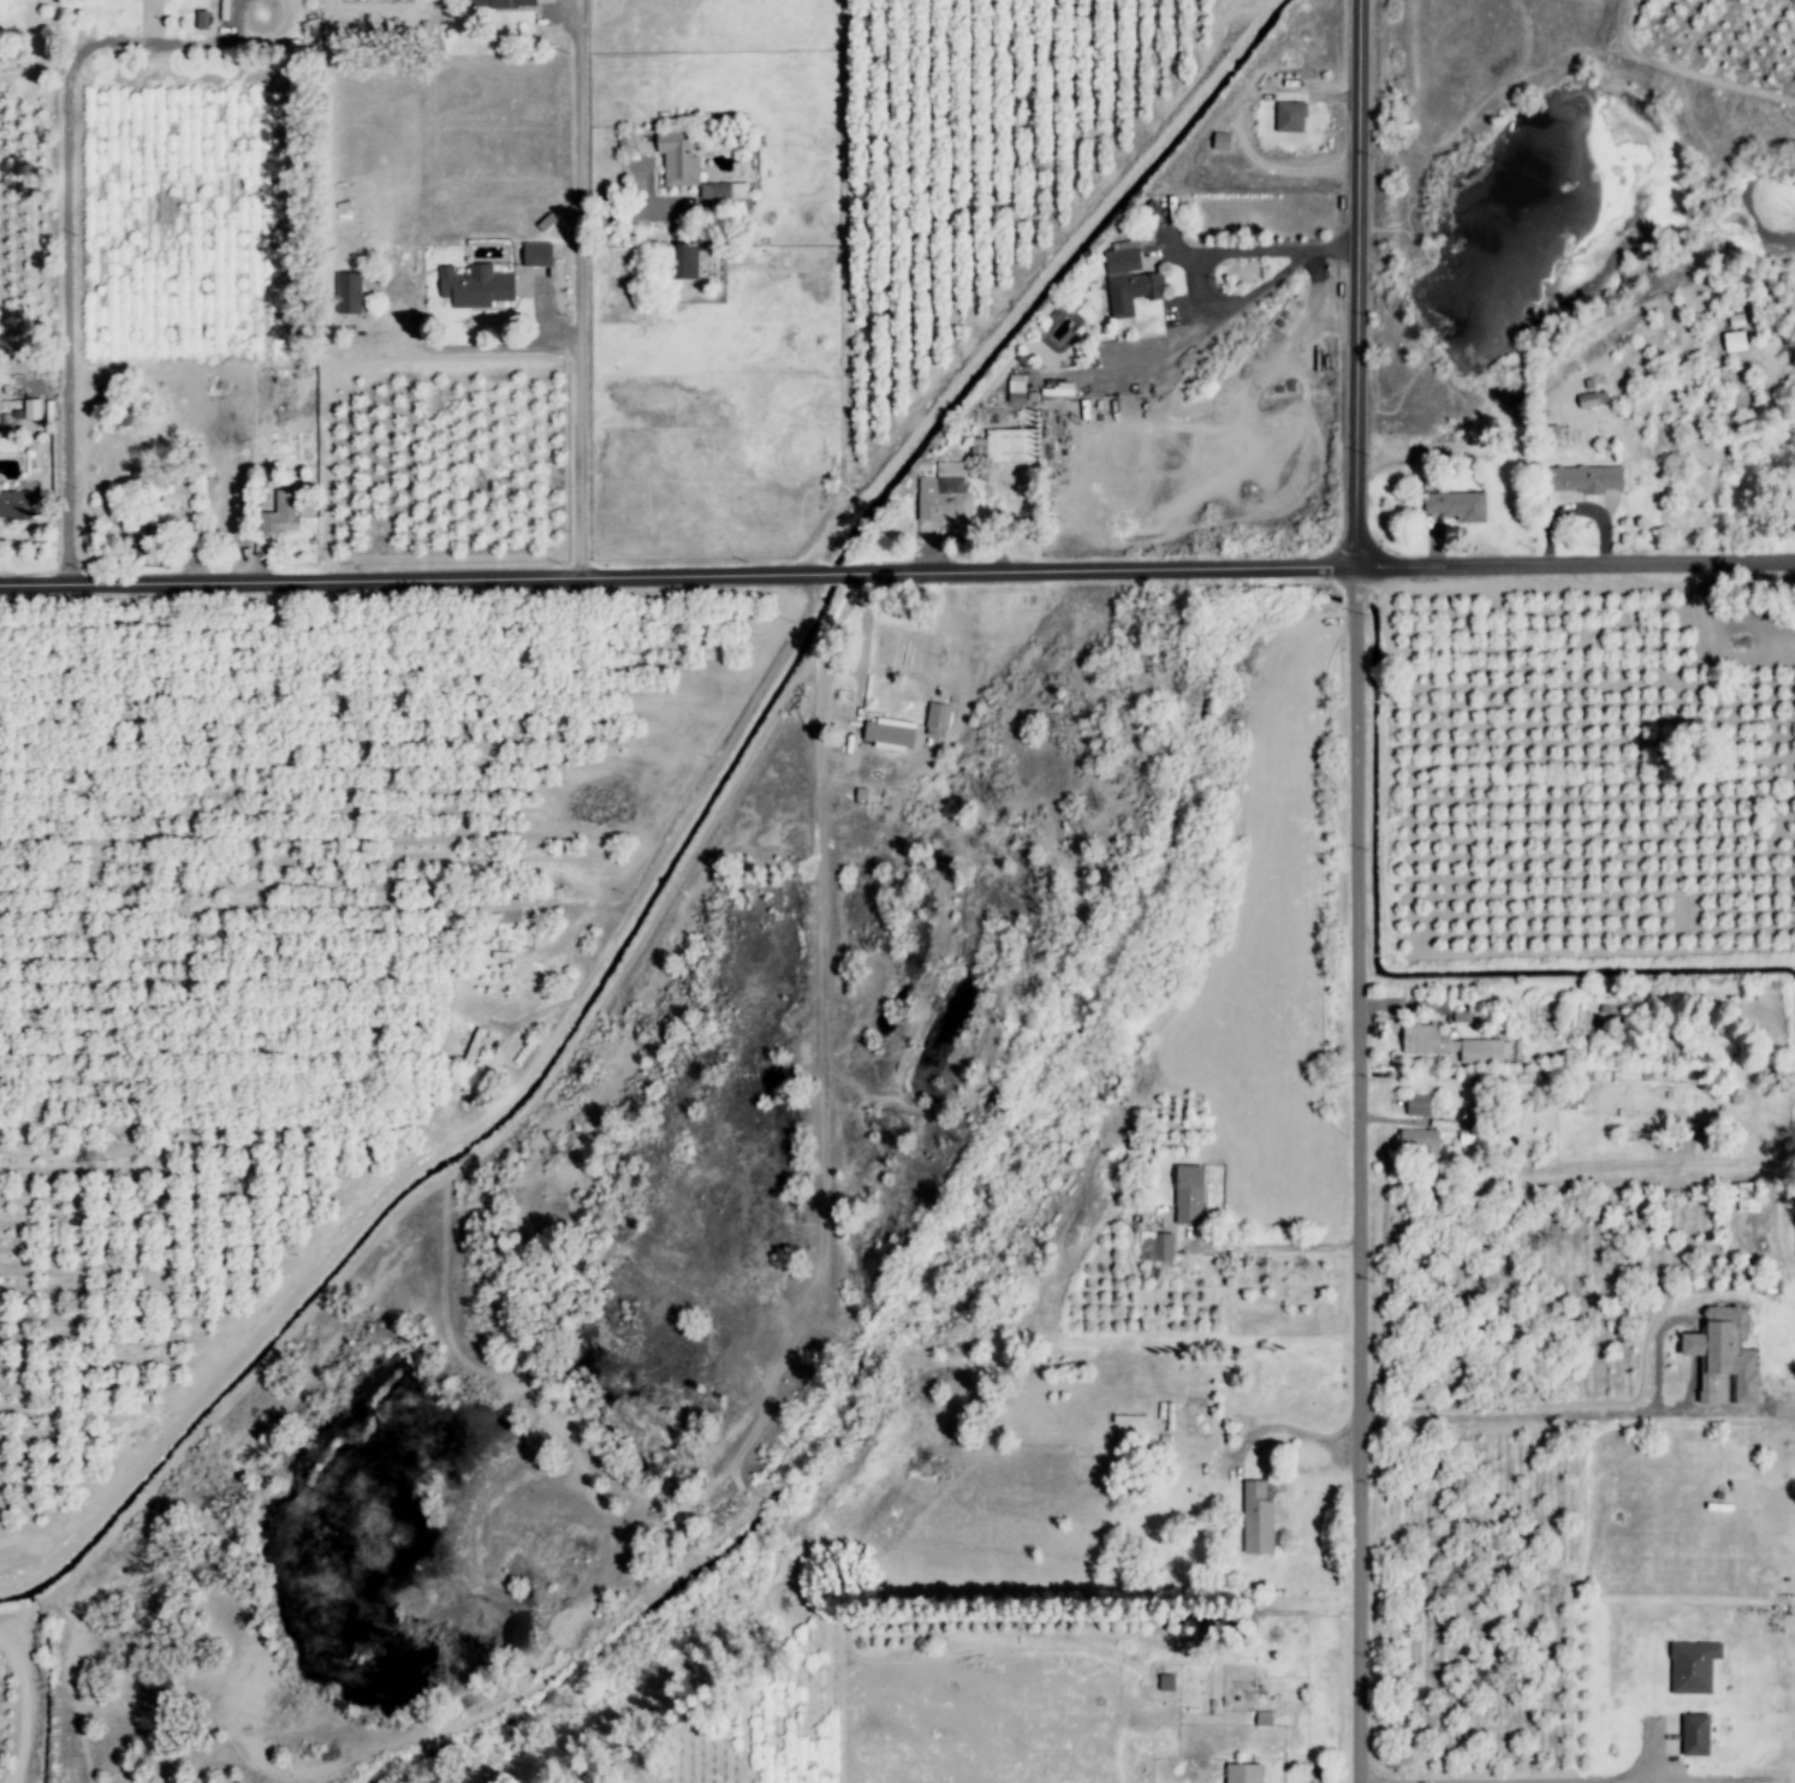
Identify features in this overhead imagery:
building: (499, 5)
building: (200, 22)
building: (1288, 119)
building: (677, 161)
road: (65, 254)
building: (534, 256)
building: (1121, 258)
building: (684, 263)
road: (1196, 277)
building: (474, 287)
road: (577, 287)
building: (1130, 293)
building: (346, 295)
building: (1732, 343)
road: (463, 347)
building: (1056, 392)
building: (1587, 402)
building: (30, 411)
building: (1552, 436)
building: (1003, 447)
building: (1583, 480)
building: (943, 498)
building: (173, 501)
building: (16, 507)
building: (1455, 507)
building: (280, 515)
road: (897, 565)
road: (866, 631)
building: (935, 721)
building: (887, 733)
road: (702, 783)
road: (1363, 891)
building: (493, 911)
building: (1450, 1047)
building: (1416, 1106)
building: (1416, 1145)
building: (1188, 1196)
building: (1747, 1199)
road: (1277, 1246)
building: (1155, 1248)
building: (1723, 1357)
road: (1546, 1418)
road: (1295, 1428)
building: (1255, 1521)
building: (1164, 1684)
building: (1694, 1736)
building: (1241, 1773)
road: (1517, 1781)

